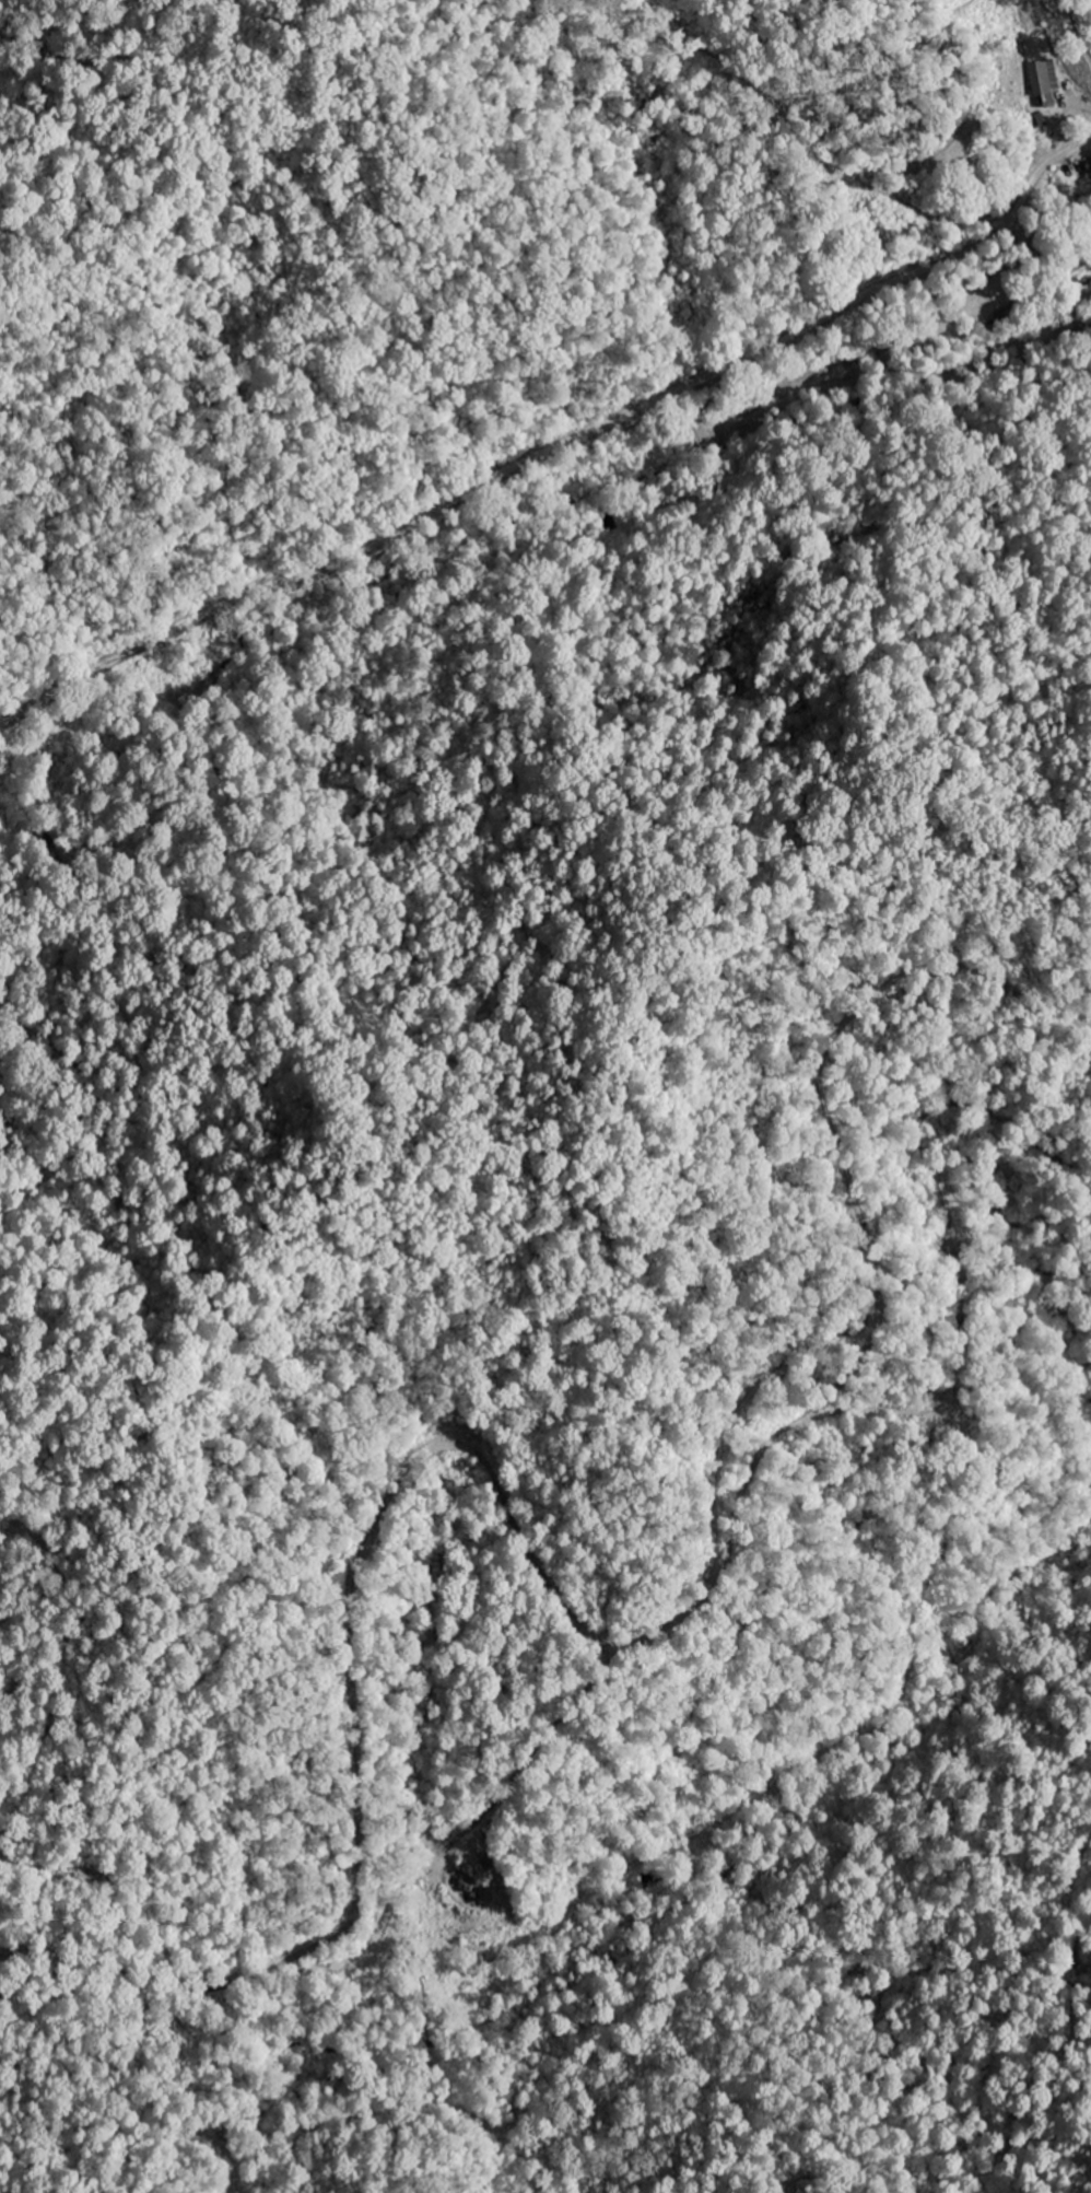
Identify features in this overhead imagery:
building: (1090, 170)
road: (555, 444)
road: (584, 1940)

